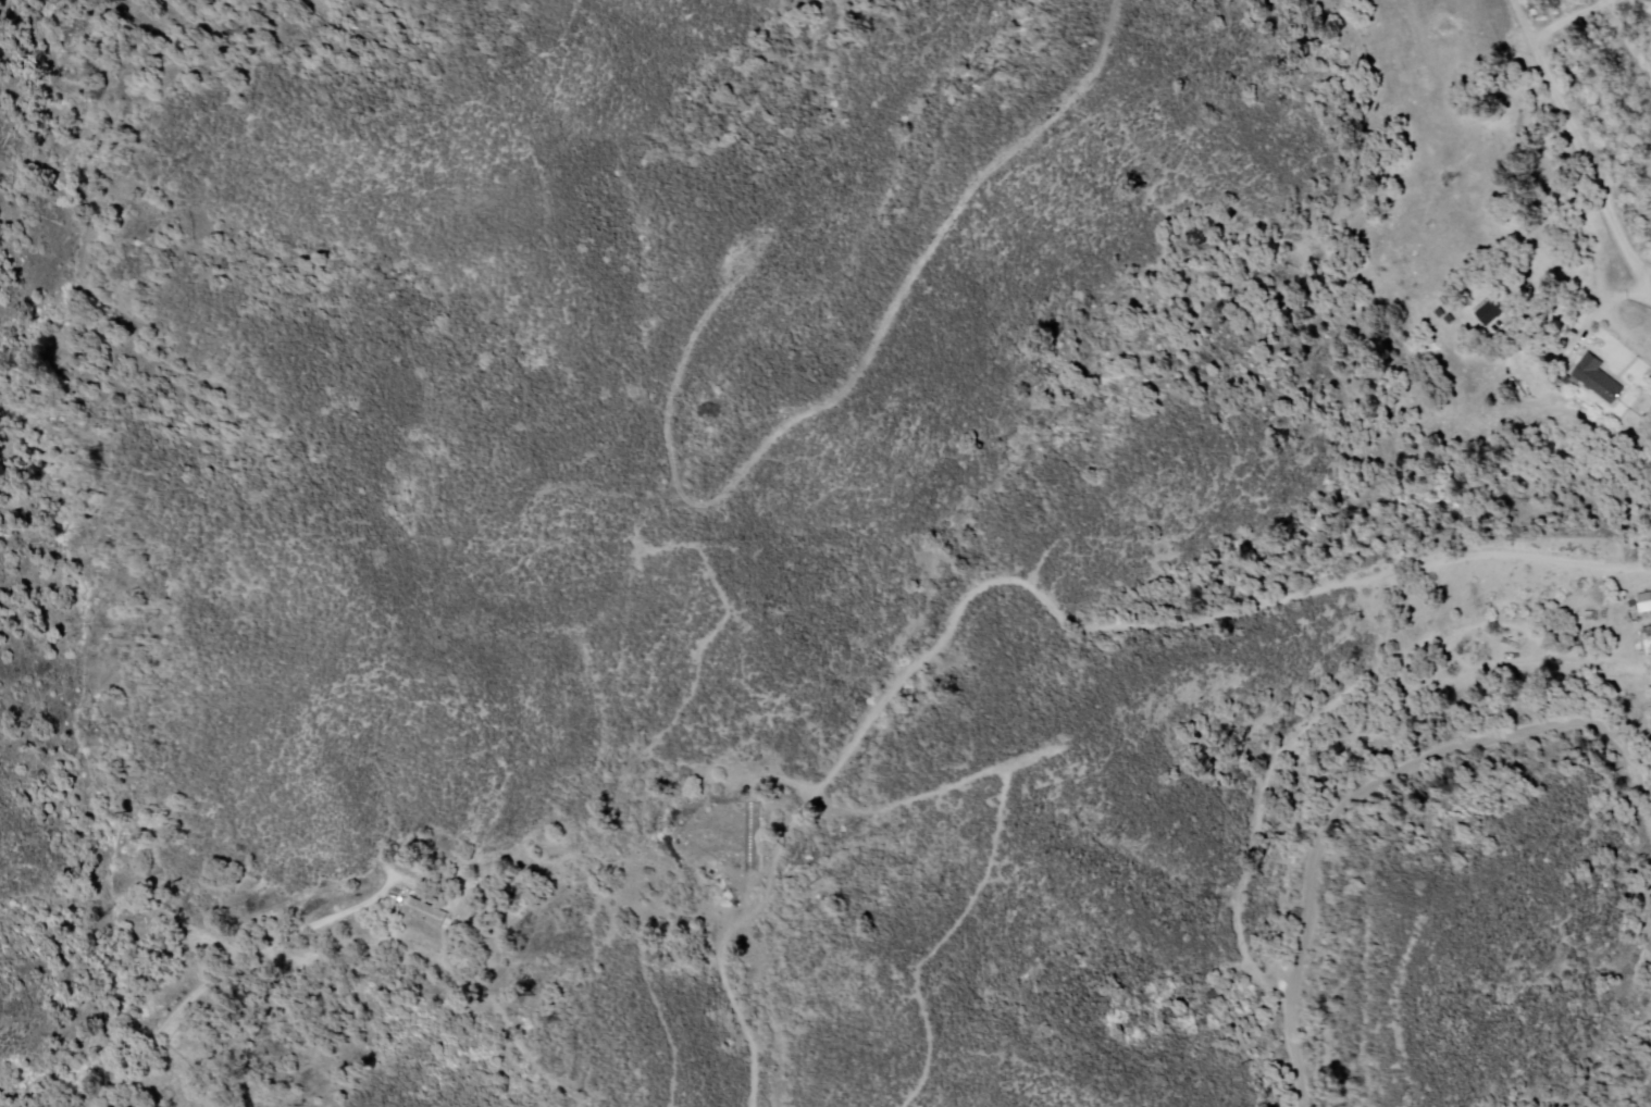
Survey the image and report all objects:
road: (1579, 145)
road: (1614, 327)
building: (1600, 381)
building: (1644, 605)
building: (1649, 637)
road: (1363, 792)
building: (426, 913)
road: (229, 970)

